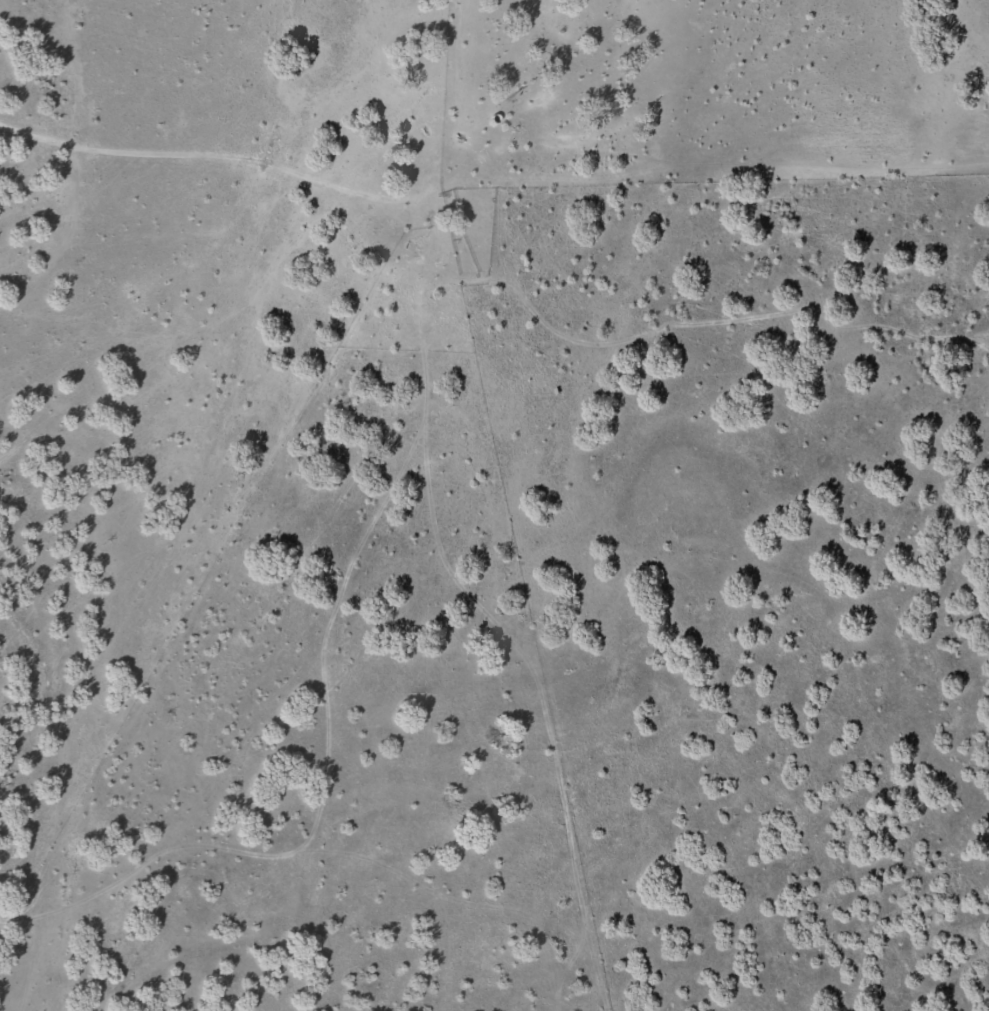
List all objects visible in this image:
road: (226, 151)
road: (720, 347)
road: (401, 497)

